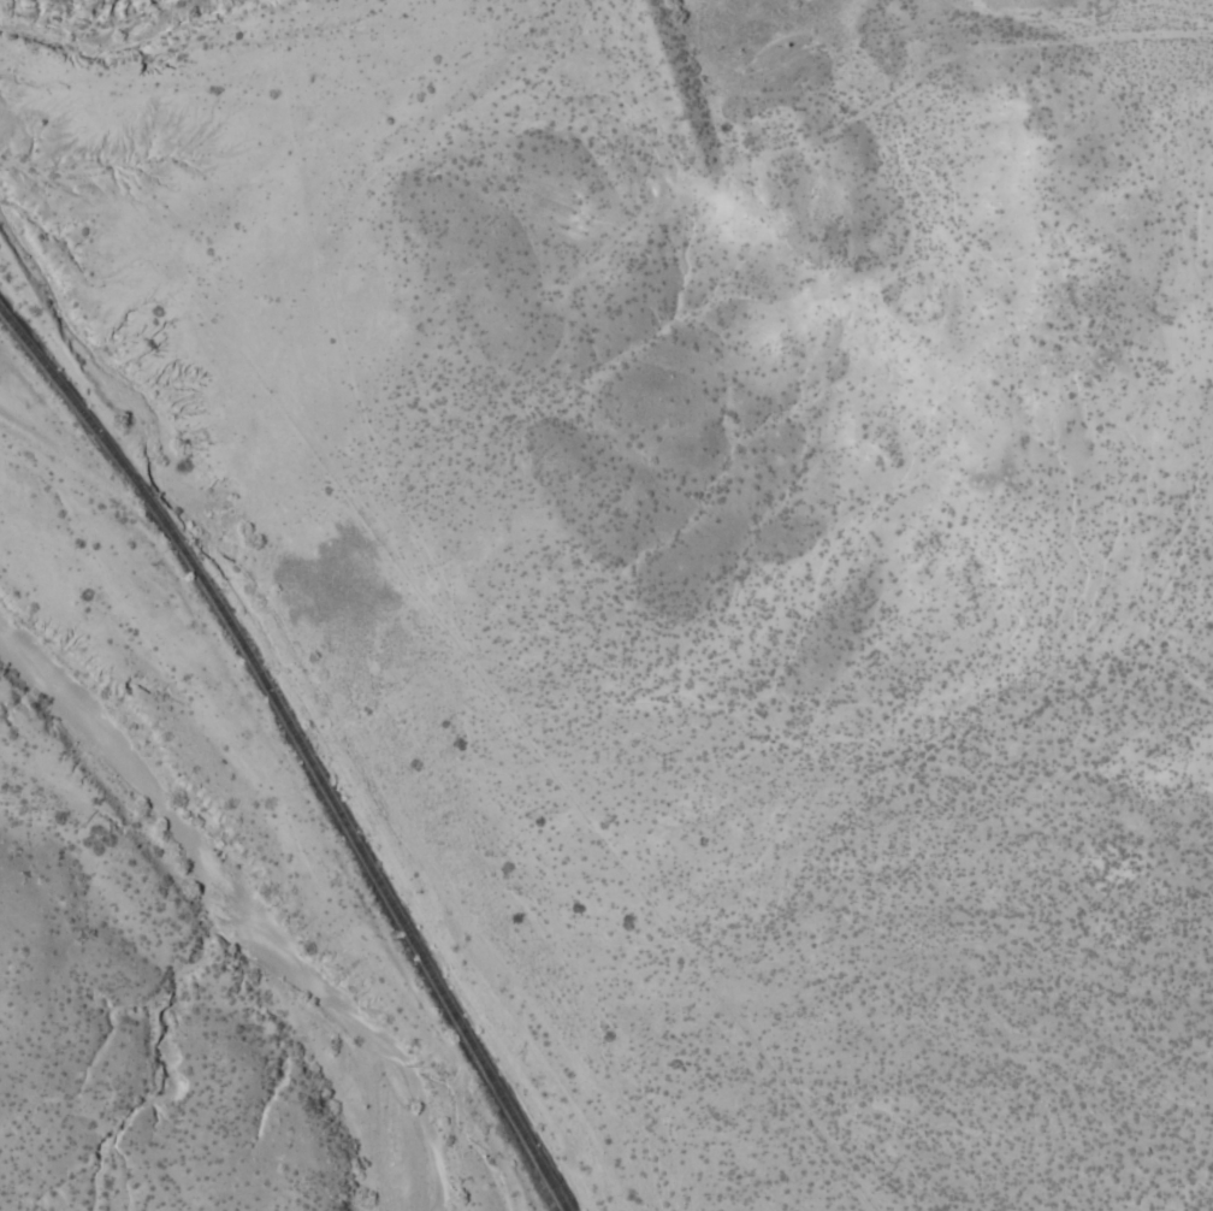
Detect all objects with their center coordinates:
road: (628, 154)
railway: (300, 748)

